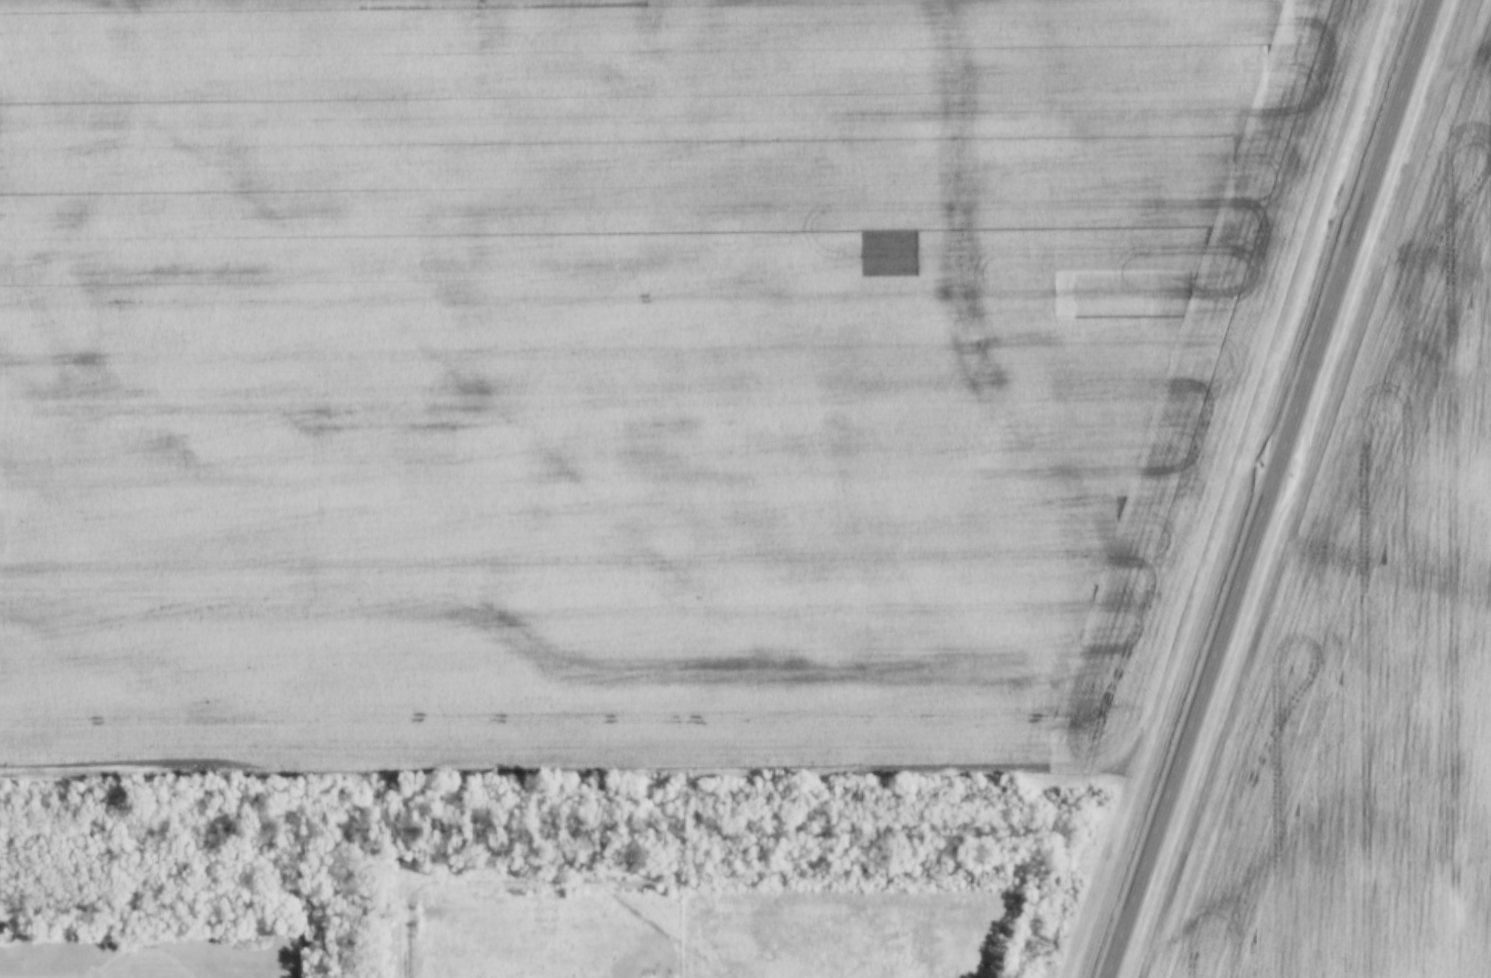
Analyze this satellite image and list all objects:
road: (1268, 489)

